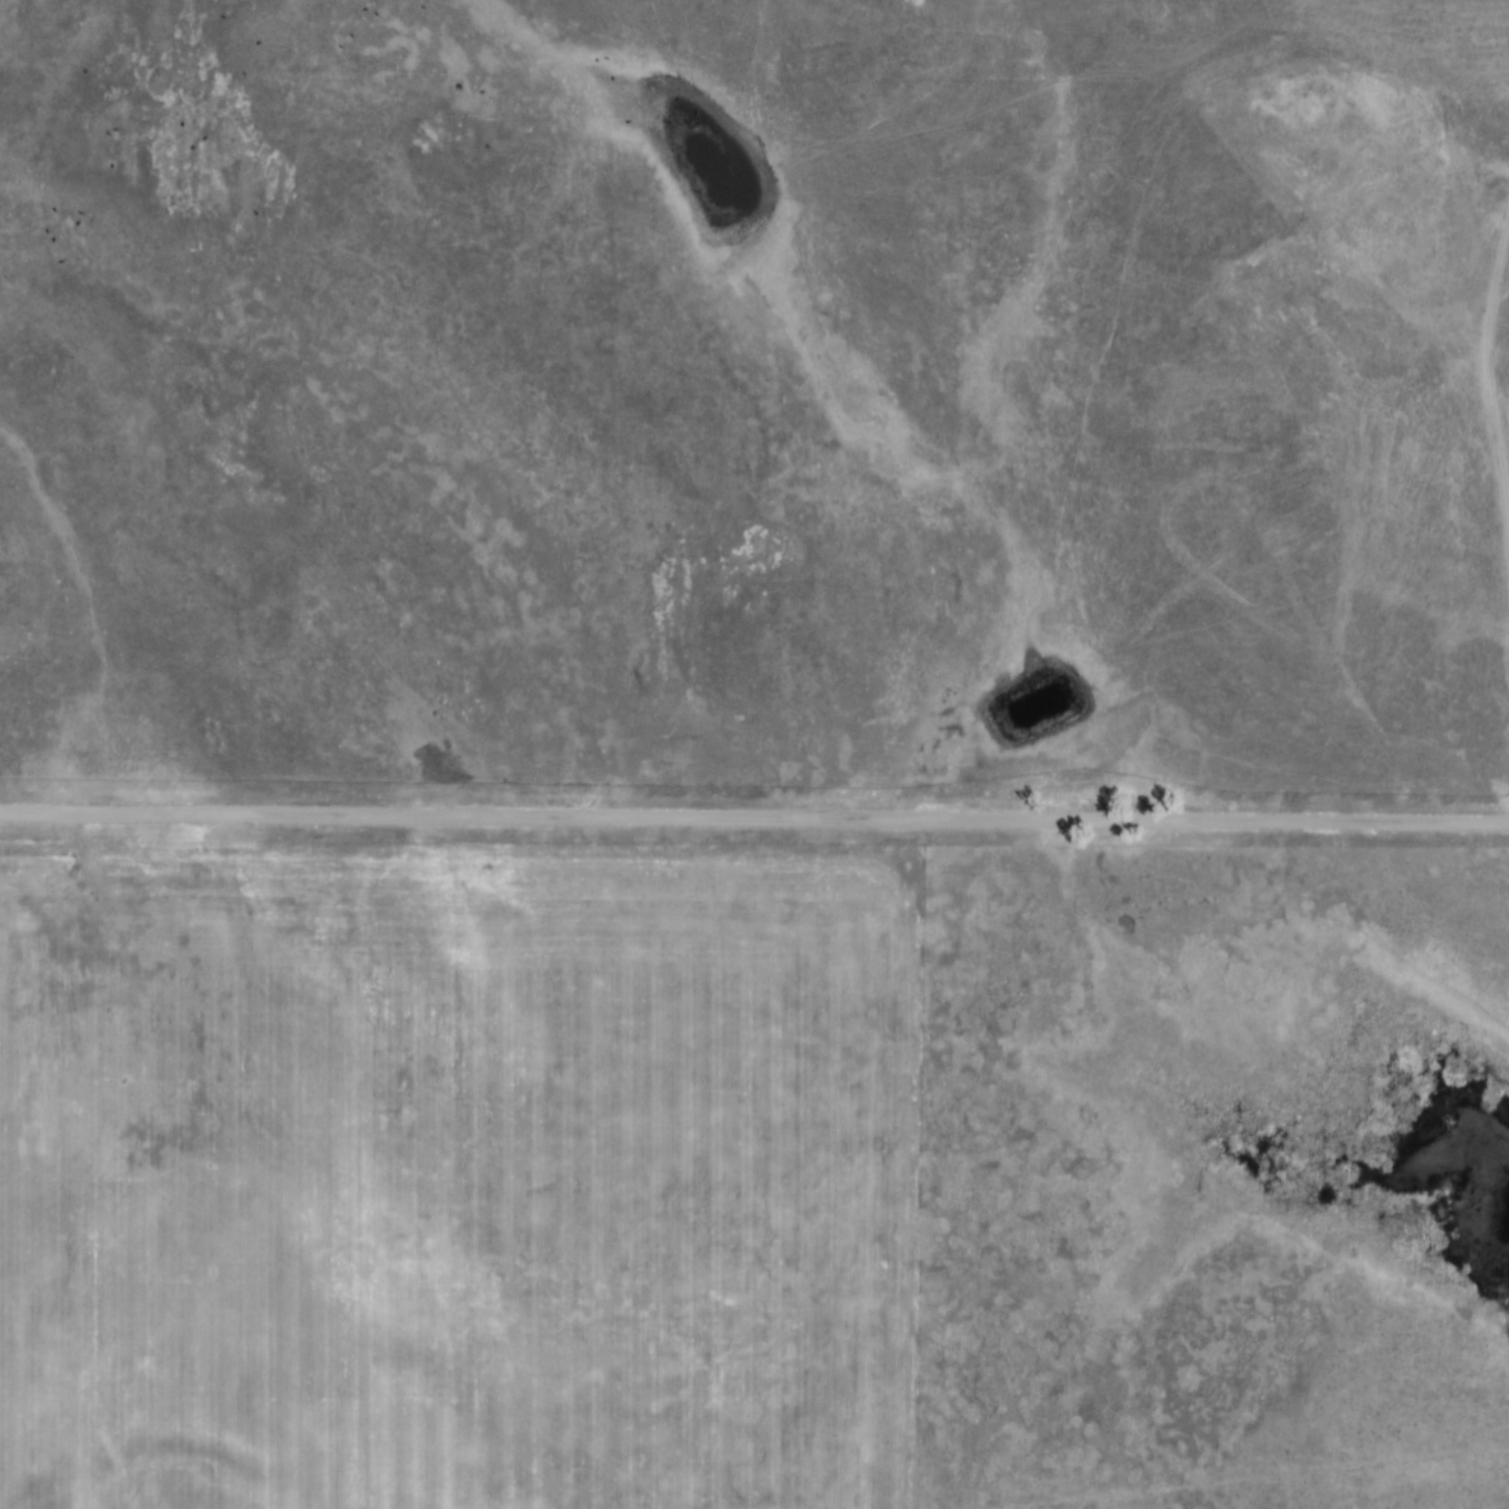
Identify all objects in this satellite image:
road: (754, 820)

